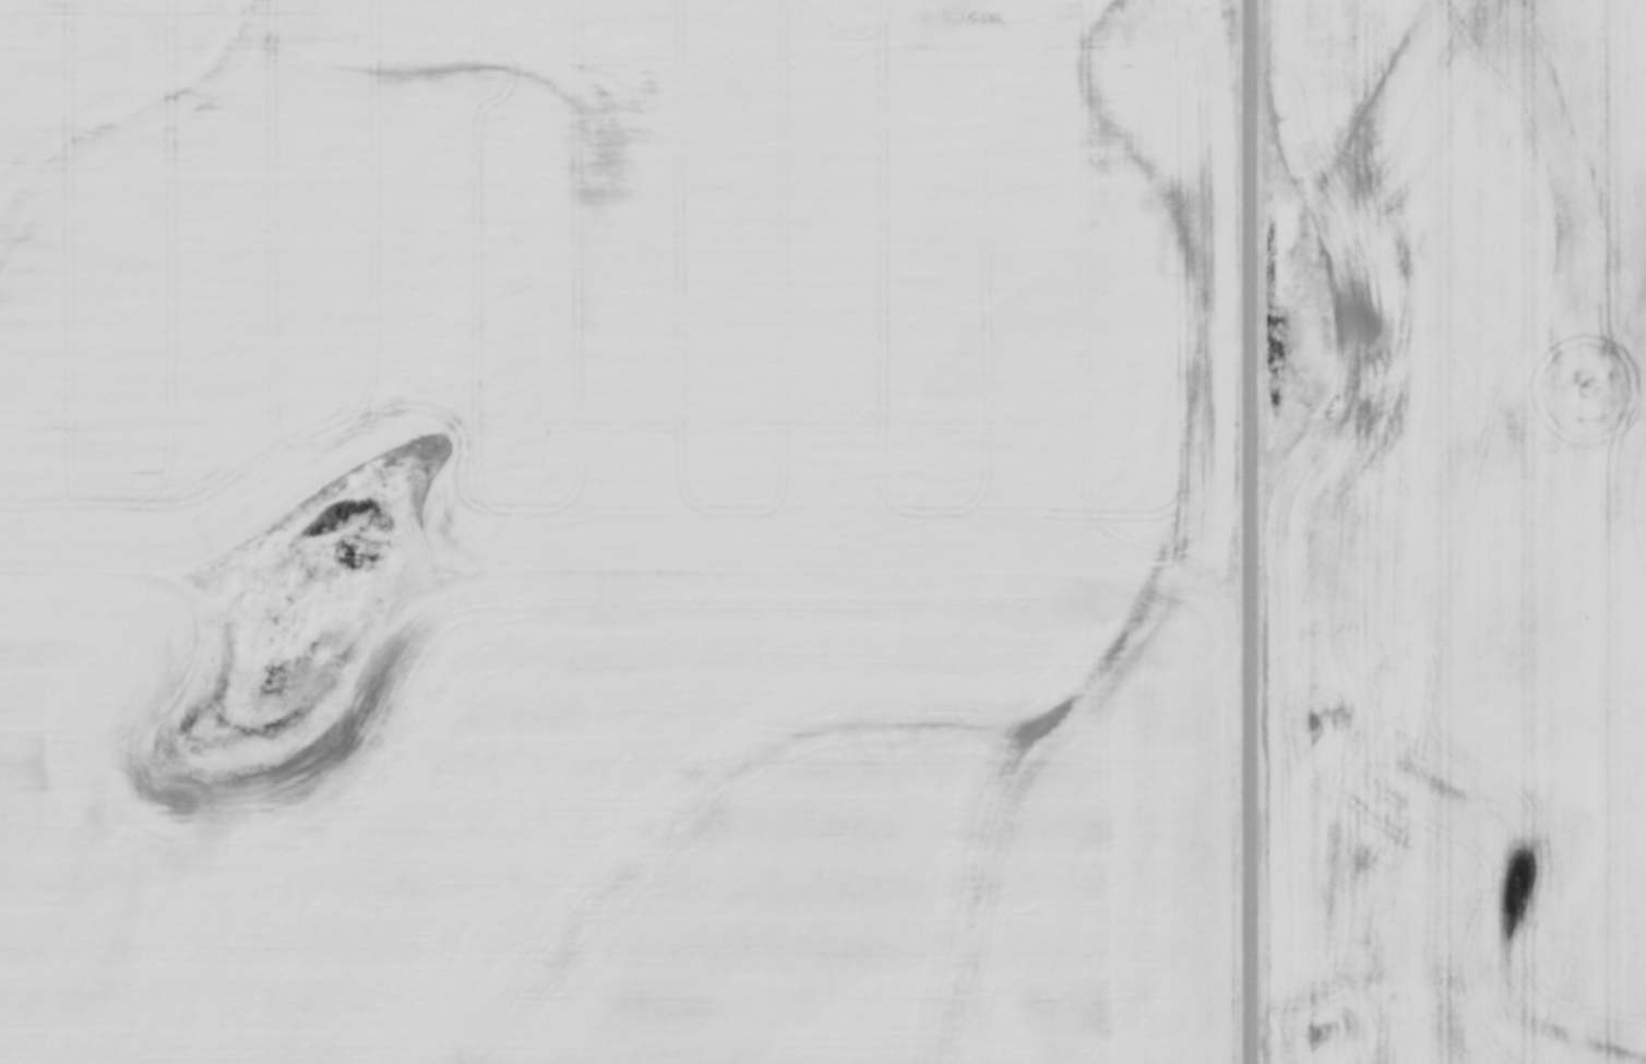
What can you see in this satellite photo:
road: (1257, 531)

